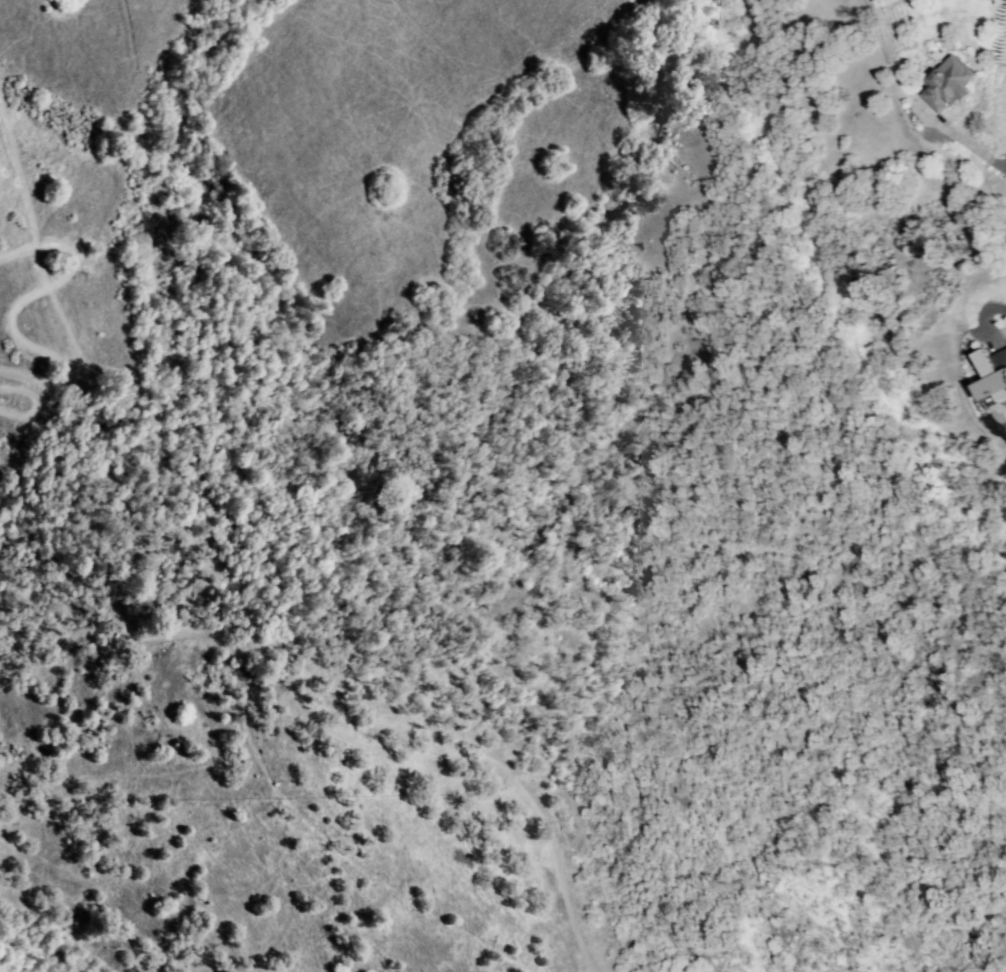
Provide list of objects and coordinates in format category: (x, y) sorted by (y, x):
building: (946, 84)
road: (977, 314)
building: (991, 375)

